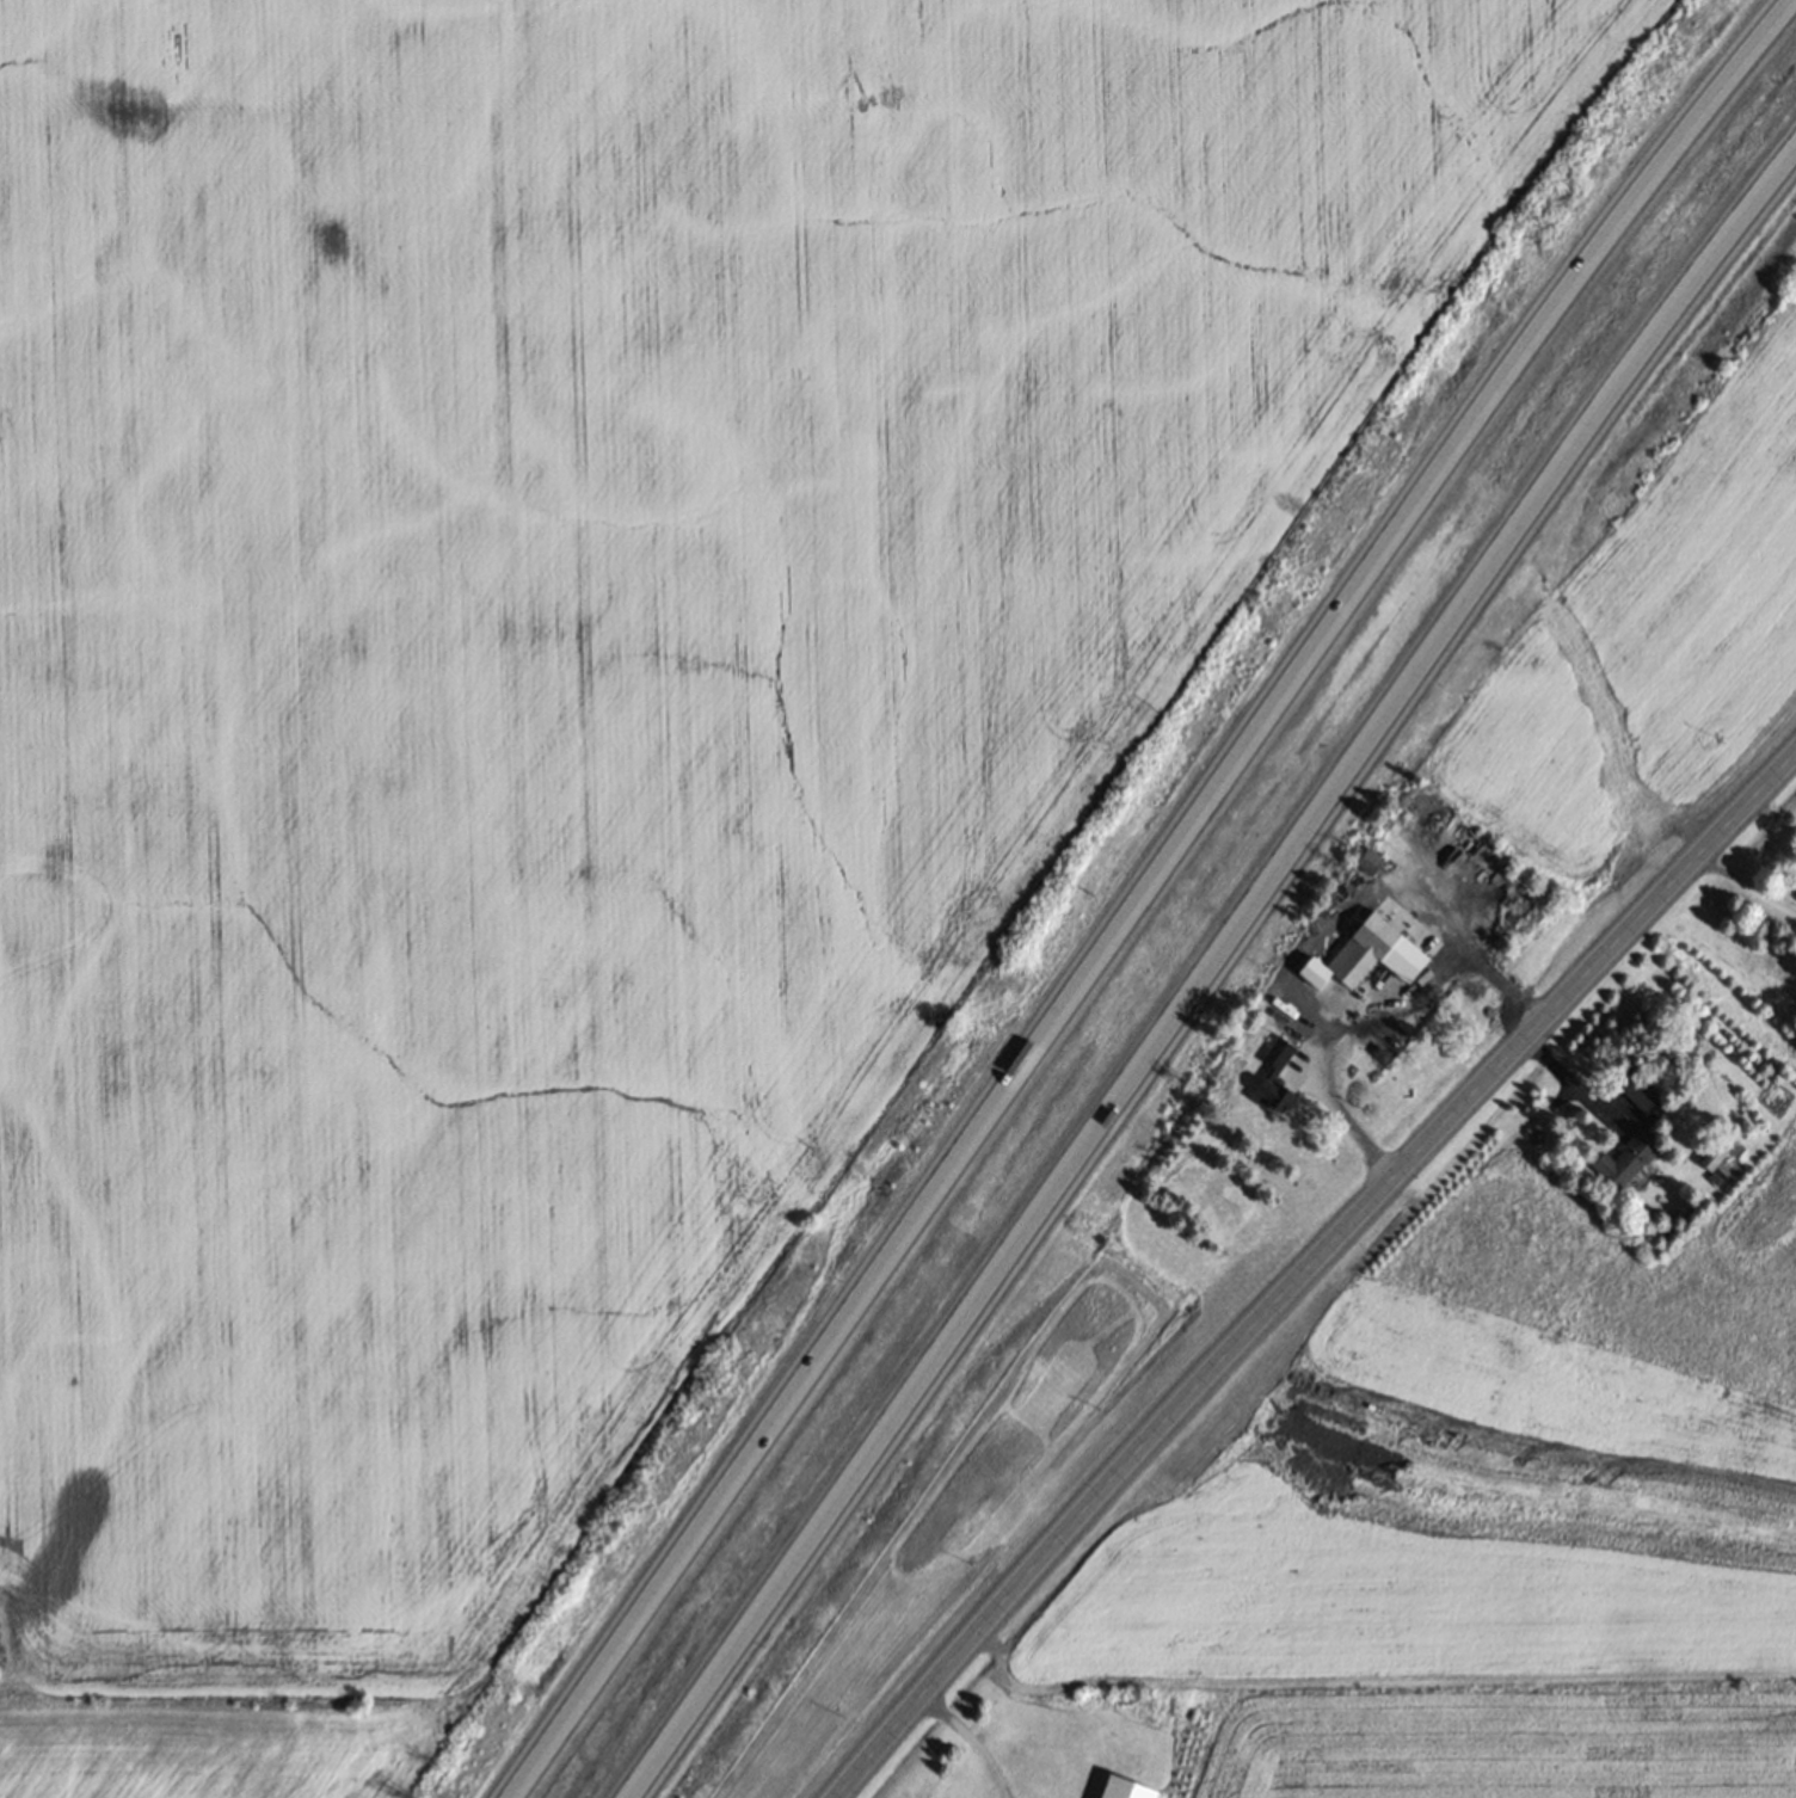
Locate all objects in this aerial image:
crop: (578, 715)
road: (1776, 818)
building: (1370, 862)
road: (1747, 888)
road: (1120, 893)
building: (1368, 956)
road: (1225, 992)
road: (1367, 1017)
building: (1274, 1078)
road: (1576, 1083)
building: (1635, 1090)
building: (1623, 1164)
road: (1302, 1267)
road: (228, 1670)
road: (972, 1742)
building: (1124, 1788)

